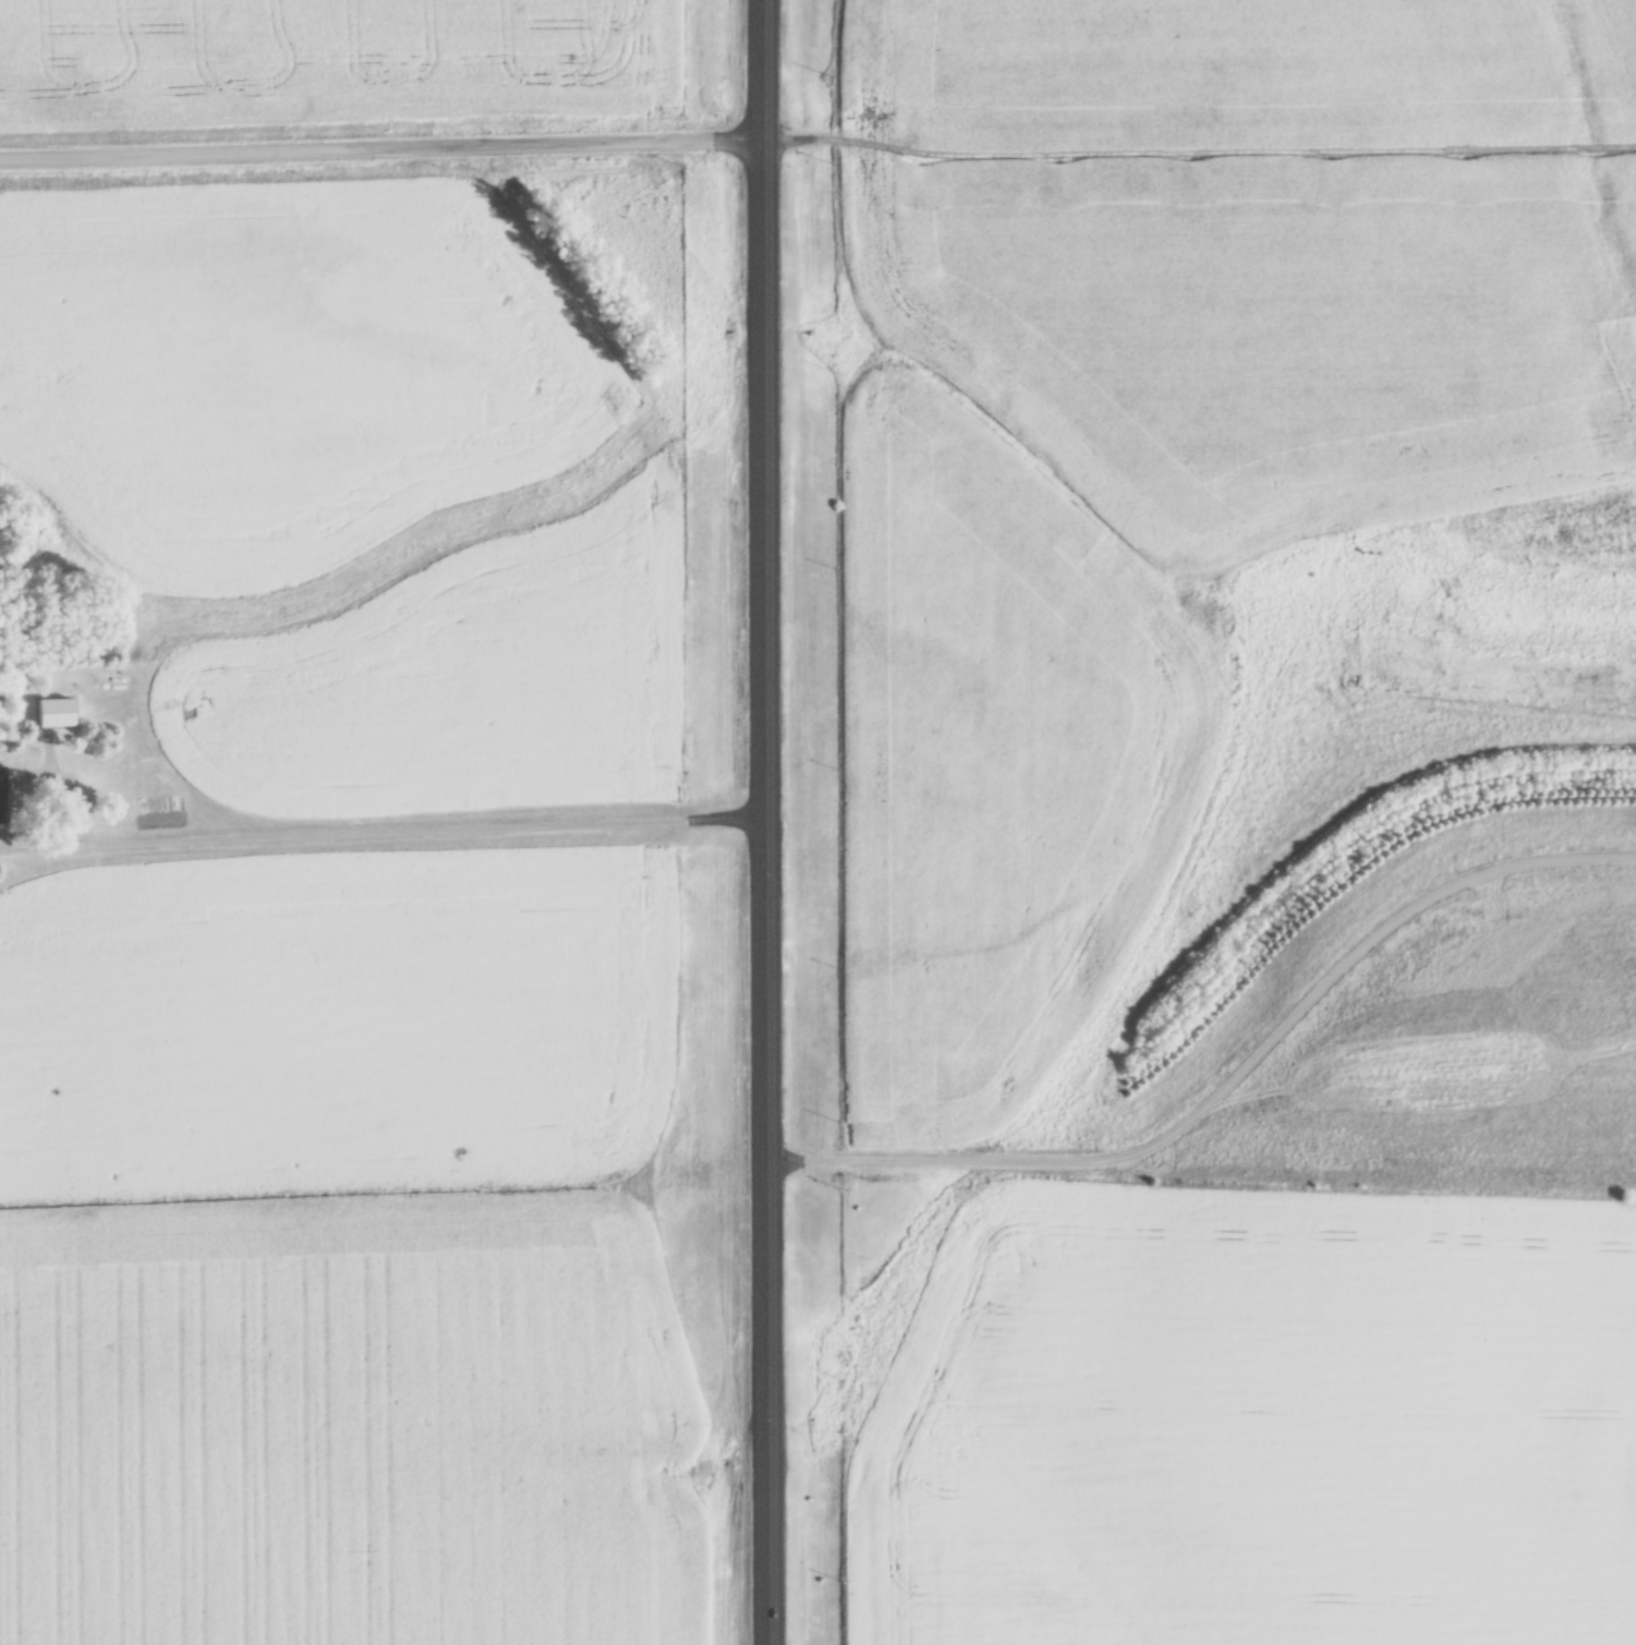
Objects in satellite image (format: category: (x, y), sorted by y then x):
road: (386, 155)
building: (54, 712)
building: (2, 796)
road: (768, 822)
road: (381, 833)
road: (1228, 1082)

